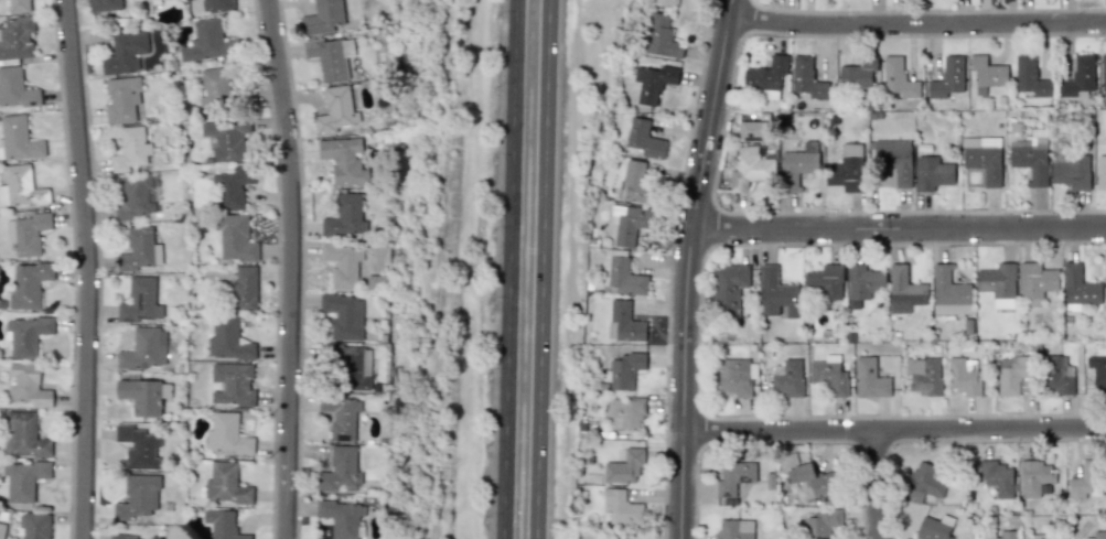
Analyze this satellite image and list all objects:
building: (663, 1)
building: (104, 4)
building: (19, 6)
building: (216, 6)
building: (323, 17)
road: (916, 23)
building: (661, 36)
building: (17, 37)
building: (204, 41)
building: (125, 52)
building: (331, 56)
building: (987, 72)
building: (1103, 72)
building: (857, 73)
building: (766, 76)
building: (1030, 76)
building: (947, 77)
building: (806, 78)
building: (898, 78)
building: (1078, 78)
building: (654, 82)
building: (215, 85)
building: (15, 88)
building: (124, 100)
building: (335, 110)
building: (226, 138)
building: (18, 139)
building: (645, 139)
building: (130, 149)
building: (1031, 157)
building: (982, 158)
building: (344, 160)
building: (894, 160)
building: (797, 165)
building: (750, 169)
building: (847, 169)
building: (1071, 170)
building: (1100, 171)
building: (932, 173)
building: (635, 181)
building: (21, 187)
building: (232, 187)
building: (133, 196)
building: (345, 216)
building: (629, 223)
road: (899, 226)
building: (28, 233)
building: (234, 238)
building: (137, 249)
building: (343, 263)
road: (669, 267)
road: (687, 267)
road: (289, 268)
road: (302, 268)
road: (86, 269)
railway: (441, 269)
road: (508, 269)
road: (541, 269)
building: (622, 274)
building: (824, 282)
building: (1035, 282)
building: (998, 283)
building: (28, 284)
building: (244, 287)
building: (1080, 287)
building: (904, 290)
building: (1105, 291)
building: (728, 292)
building: (776, 294)
rooftop solar panel: (139, 300)
building: (140, 301)
building: (344, 315)
rooftop solar panel: (146, 316)
rooftop solar panel: (130, 319)
building: (624, 322)
building: (25, 334)
building: (227, 339)
building: (143, 348)
building: (350, 366)
building: (625, 370)
building: (1098, 371)
building: (924, 375)
building: (1014, 375)
building: (733, 376)
building: (829, 376)
building: (964, 376)
building: (1055, 376)
building: (788, 378)
building: (869, 378)
building: (232, 384)
building: (28, 385)
building: (143, 396)
building: (624, 412)
building: (341, 417)
road: (895, 430)
building: (226, 434)
building: (24, 435)
building: (139, 445)
building: (624, 466)
building: (341, 470)
rooftop solar panel: (743, 475)
building: (994, 476)
building: (1035, 476)
building: (734, 477)
building: (23, 478)
building: (926, 479)
building: (1086, 479)
building: (225, 484)
road: (877, 485)
rooftop solar panel: (727, 492)
building: (138, 497)
building: (621, 507)
building: (341, 518)
building: (823, 521)
building: (223, 524)
building: (34, 525)
building: (734, 529)
building: (932, 529)
building: (1, 531)
building: (999, 535)
building: (1098, 535)
building: (121, 536)
building: (1042, 536)

